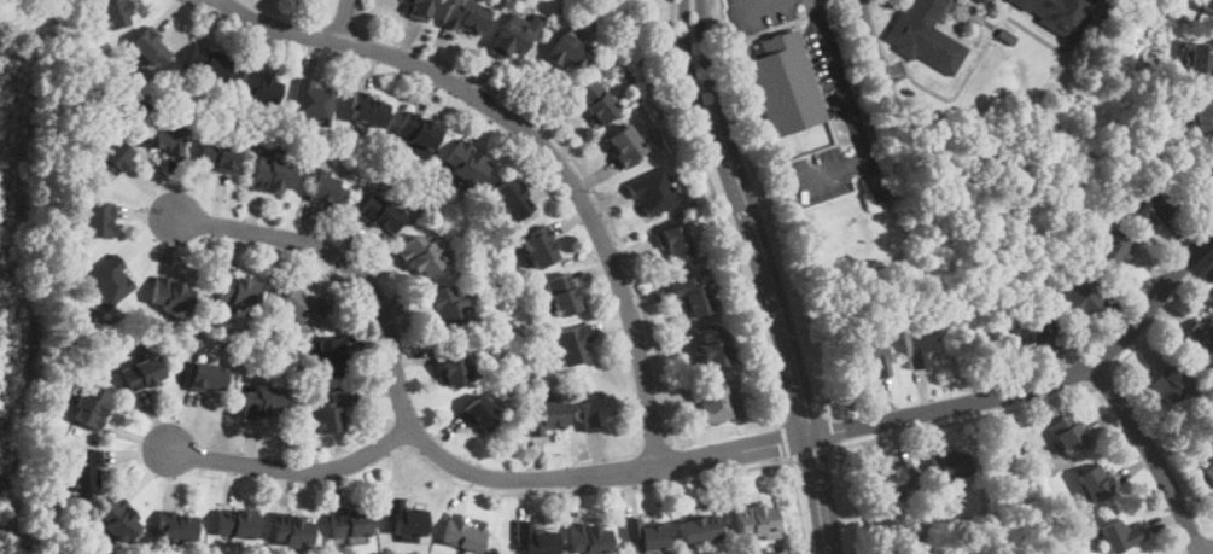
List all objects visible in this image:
building: (991, 0)
building: (981, 1)
building: (1207, 5)
road: (754, 7)
building: (421, 8)
building: (590, 8)
building: (116, 12)
building: (1061, 14)
building: (465, 17)
road: (342, 21)
building: (1162, 22)
road: (869, 34)
building: (926, 36)
building: (1007, 36)
building: (512, 39)
building: (1149, 46)
building: (151, 48)
building: (567, 51)
building: (1200, 60)
building: (208, 63)
building: (1168, 74)
building: (783, 86)
building: (259, 87)
building: (311, 103)
building: (595, 104)
road: (716, 104)
building: (144, 107)
road: (699, 107)
building: (367, 110)
road: (853, 117)
building: (1202, 117)
building: (419, 133)
building: (165, 139)
road: (537, 142)
building: (625, 146)
building: (218, 154)
building: (111, 159)
building: (467, 163)
building: (1208, 170)
building: (272, 177)
road: (588, 180)
building: (328, 192)
building: (655, 192)
building: (513, 199)
building: (1147, 204)
road: (722, 212)
building: (380, 215)
building: (98, 221)
building: (1063, 227)
building: (675, 243)
building: (538, 247)
building: (1112, 250)
building: (77, 252)
building: (418, 256)
building: (109, 282)
building: (1024, 288)
building: (237, 292)
building: (1212, 295)
building: (171, 296)
building: (564, 296)
building: (692, 296)
building: (1081, 297)
building: (301, 304)
building: (443, 307)
road: (1166, 313)
building: (1033, 328)
building: (1201, 343)
building: (572, 344)
building: (919, 344)
building: (713, 348)
building: (873, 355)
building: (326, 356)
building: (451, 365)
building: (142, 373)
building: (208, 377)
road: (1107, 377)
road: (793, 378)
building: (1168, 384)
road: (1038, 386)
building: (715, 400)
building: (262, 403)
building: (92, 406)
building: (596, 410)
building: (331, 412)
building: (479, 414)
building: (546, 418)
road: (964, 419)
building: (1069, 435)
road: (787, 442)
road: (428, 447)
road: (811, 453)
road: (1150, 455)
road: (676, 463)
building: (951, 463)
road: (291, 470)
building: (84, 471)
building: (1209, 471)
building: (893, 483)
building: (1096, 483)
road: (594, 492)
building: (1056, 501)
road: (798, 507)
building: (756, 518)
park: (982, 518)
building: (119, 519)
building: (406, 519)
building: (237, 524)
building: (351, 524)
building: (176, 526)
building: (291, 530)
building: (700, 530)
building: (463, 533)
building: (646, 533)
building: (1121, 536)
building: (536, 538)
building: (589, 538)
road: (1206, 550)

